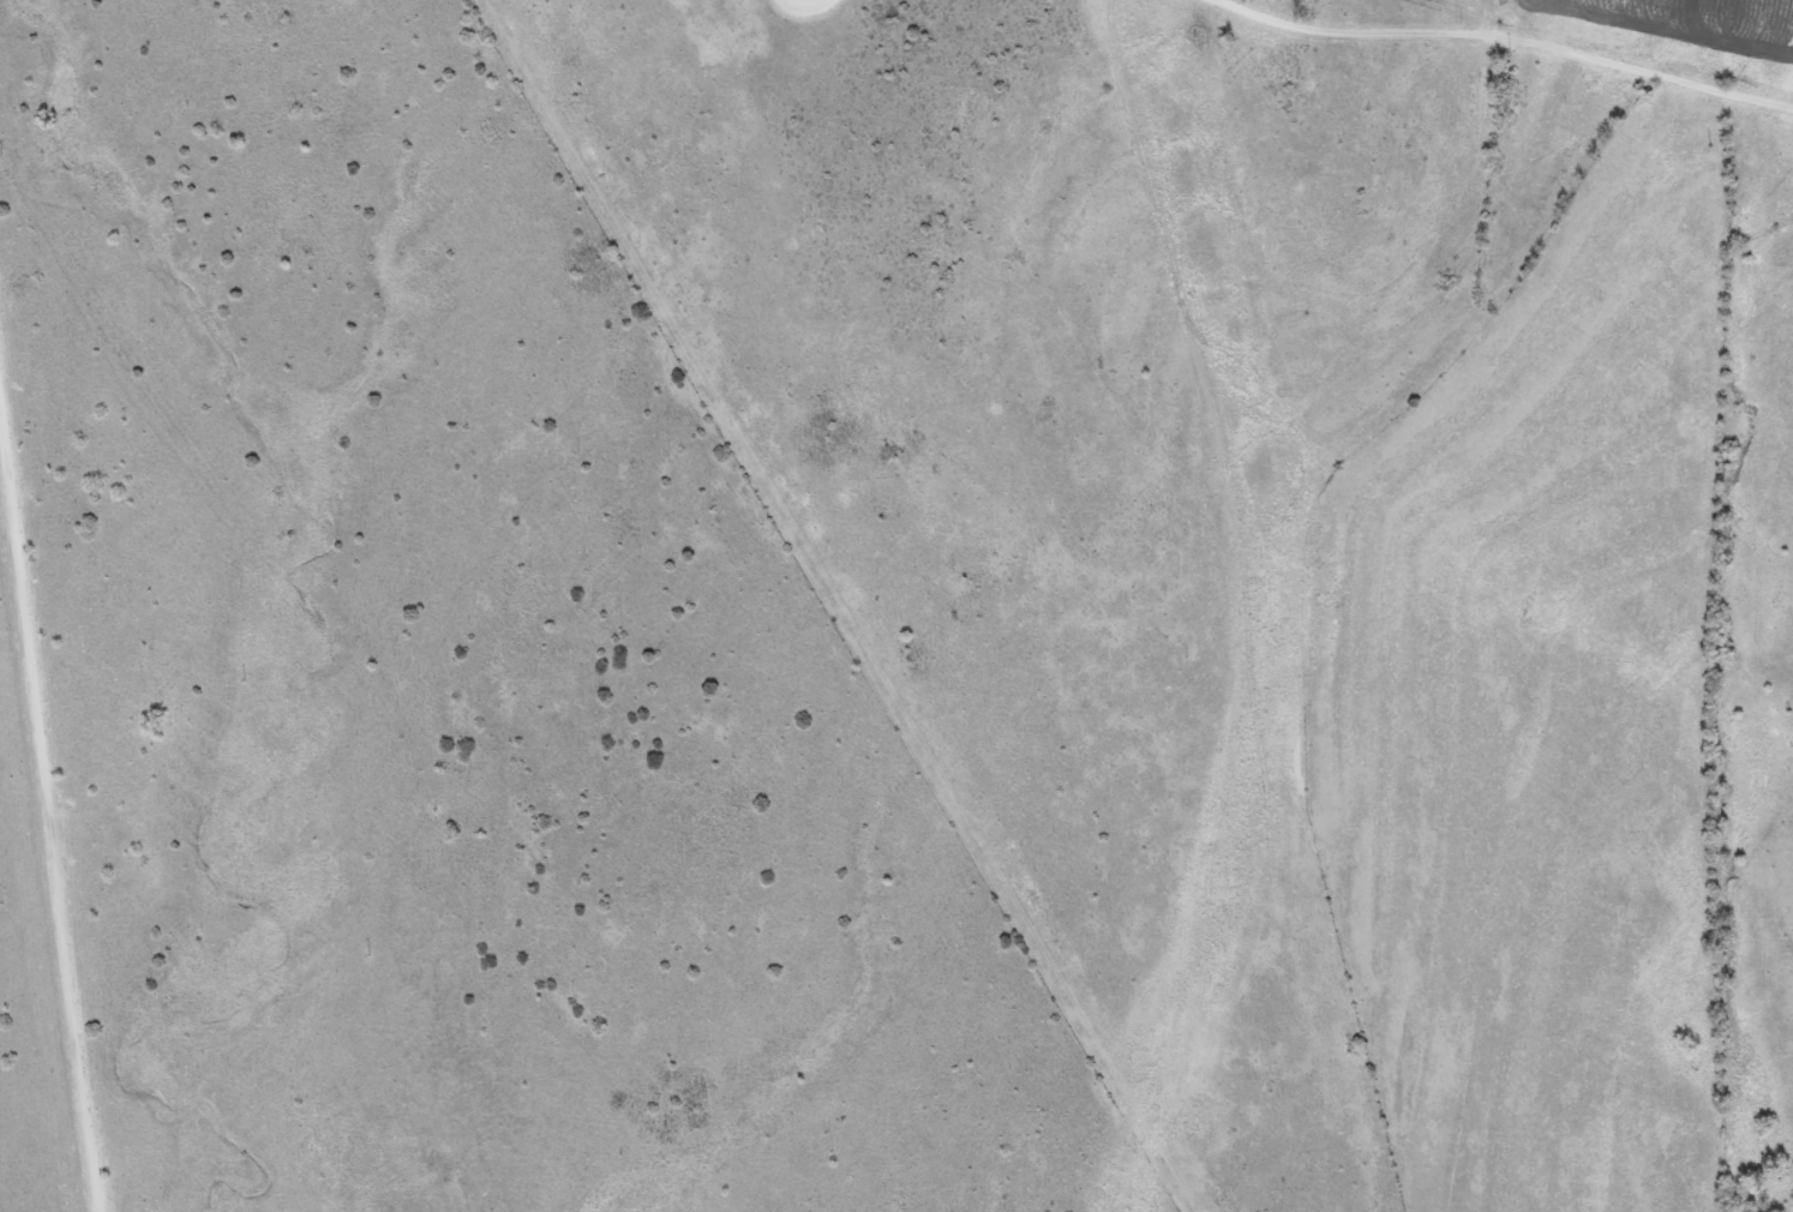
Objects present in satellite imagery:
road: (802, 6)
road: (1505, 38)
road: (46, 816)

